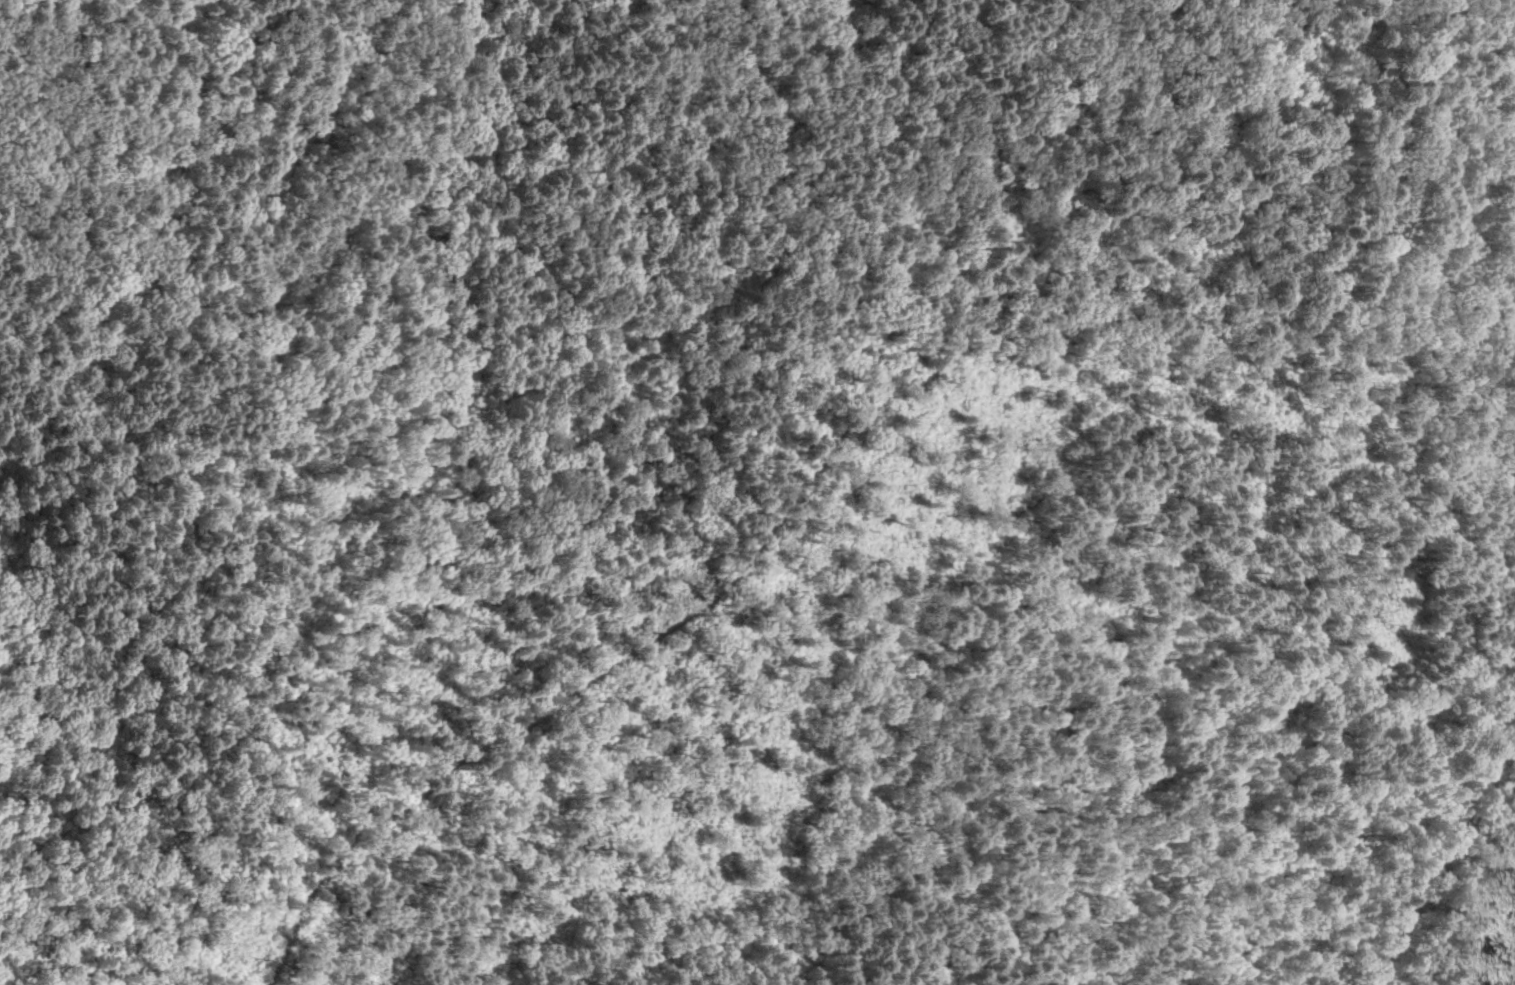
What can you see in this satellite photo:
road: (1456, 895)

